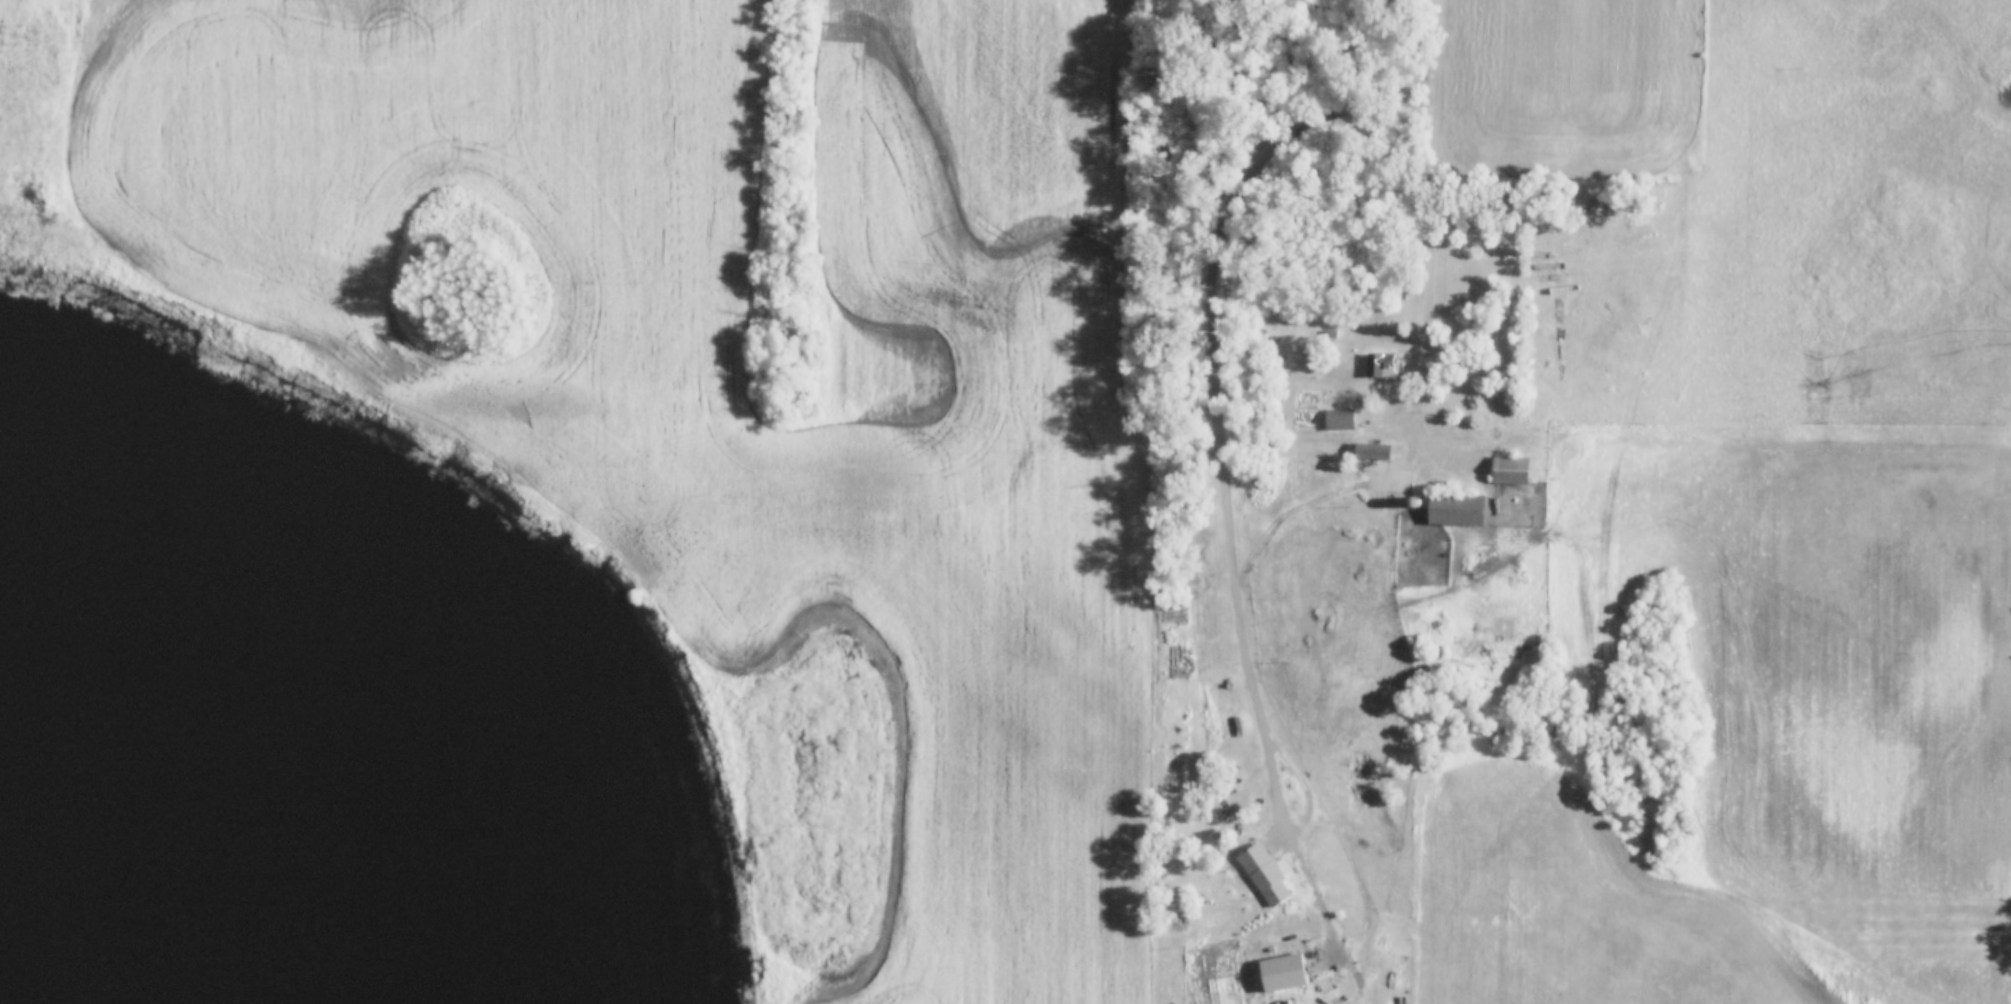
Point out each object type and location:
road: (1434, 217)
building: (1329, 334)
building: (1379, 366)
building: (1338, 419)
road: (1220, 451)
building: (1371, 451)
building: (1509, 471)
building: (1404, 479)
building: (1415, 503)
silo: (1415, 503)
building: (1454, 509)
building: (1264, 876)
road: (1359, 886)

